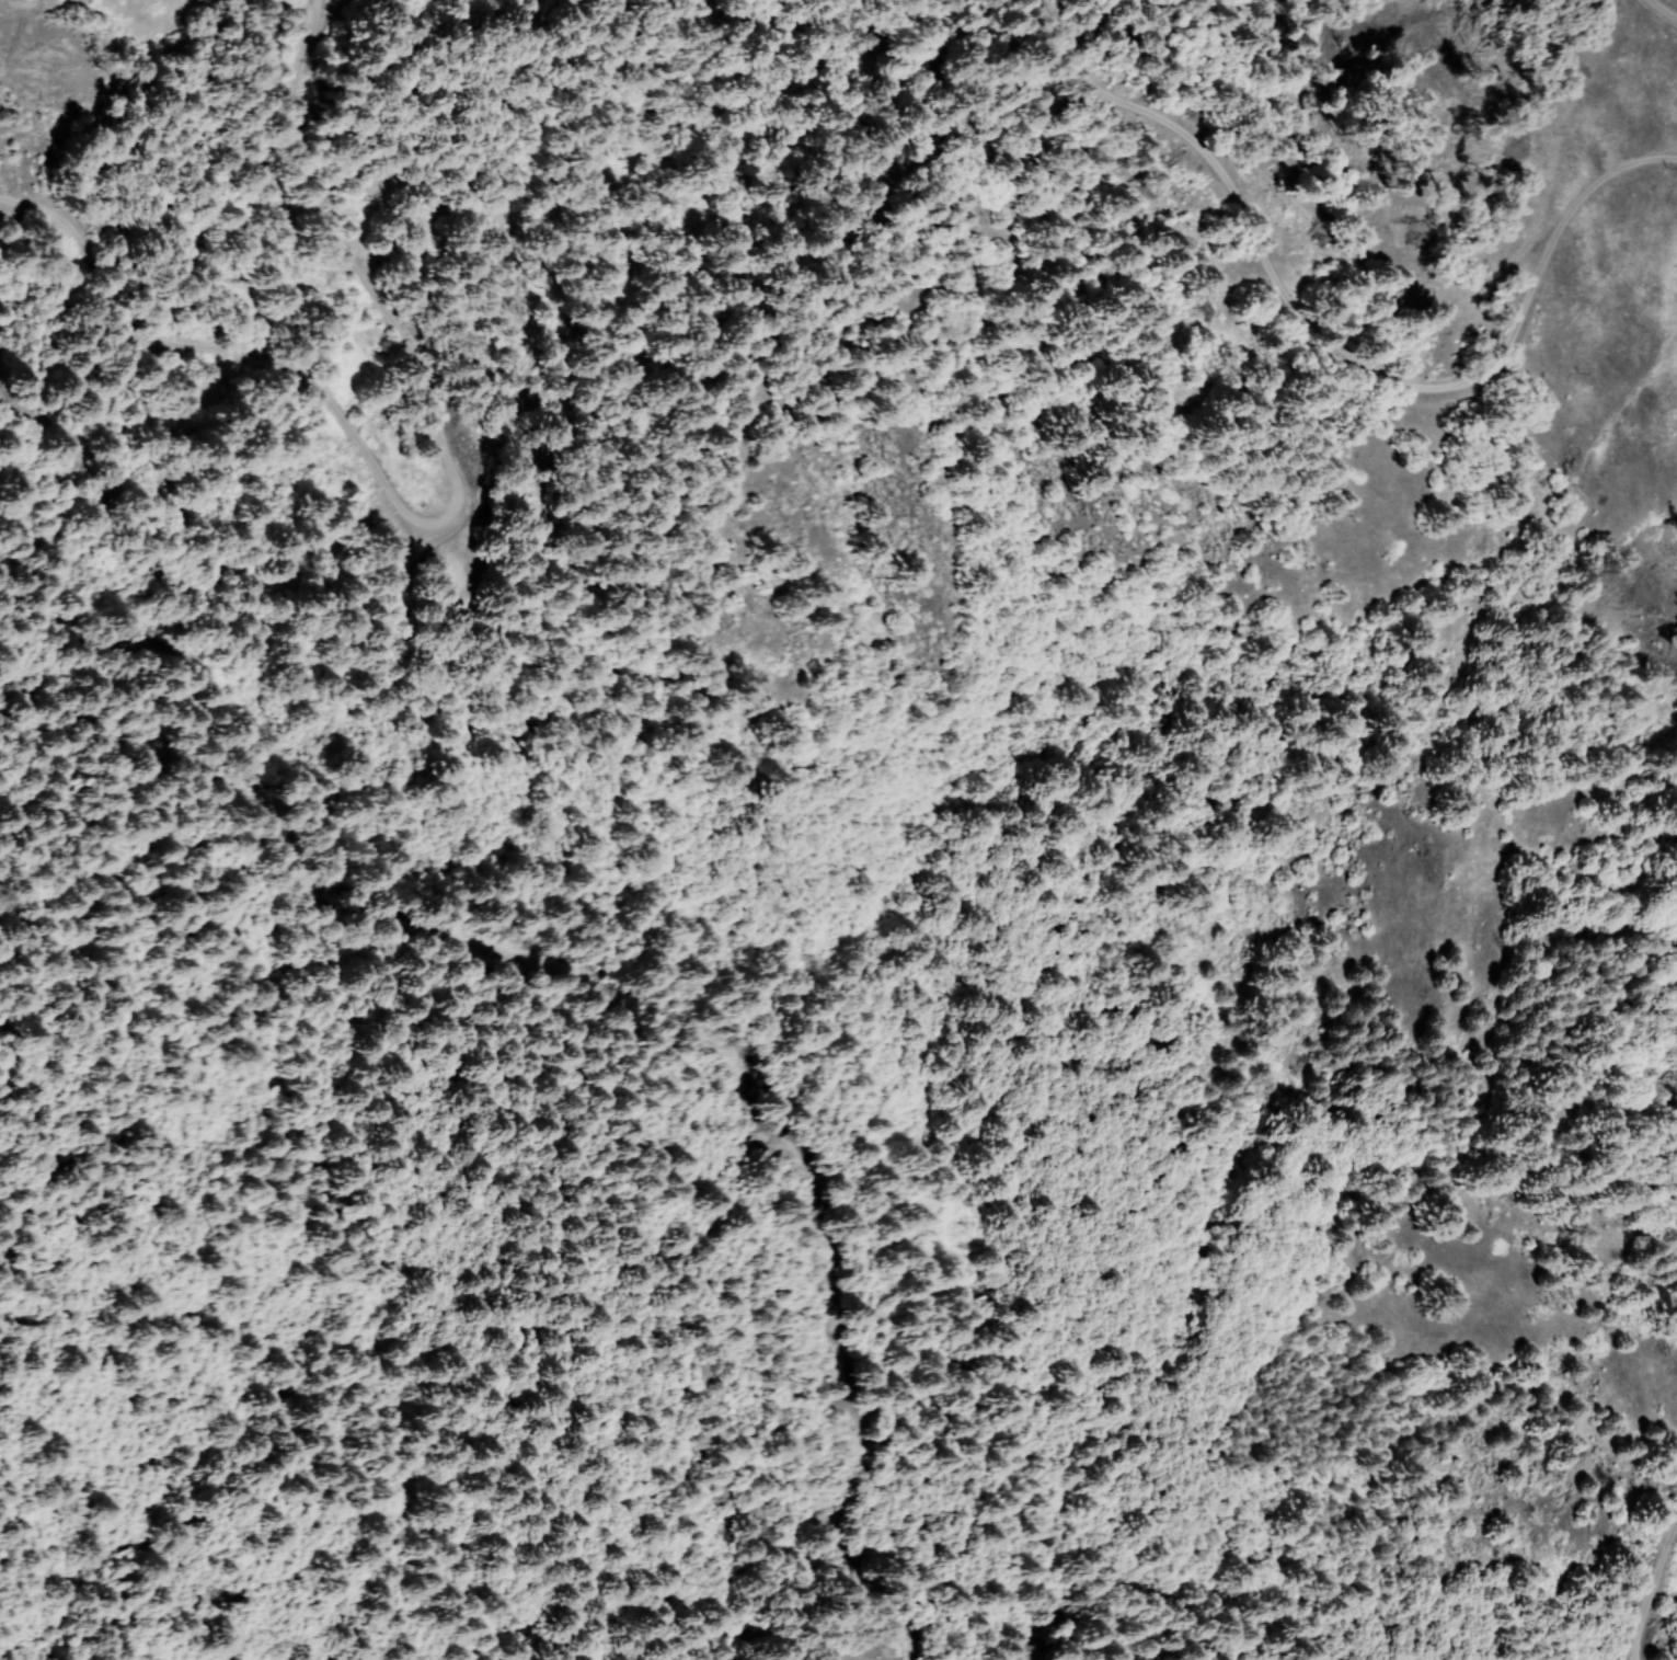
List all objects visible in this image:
road: (1667, 9)

